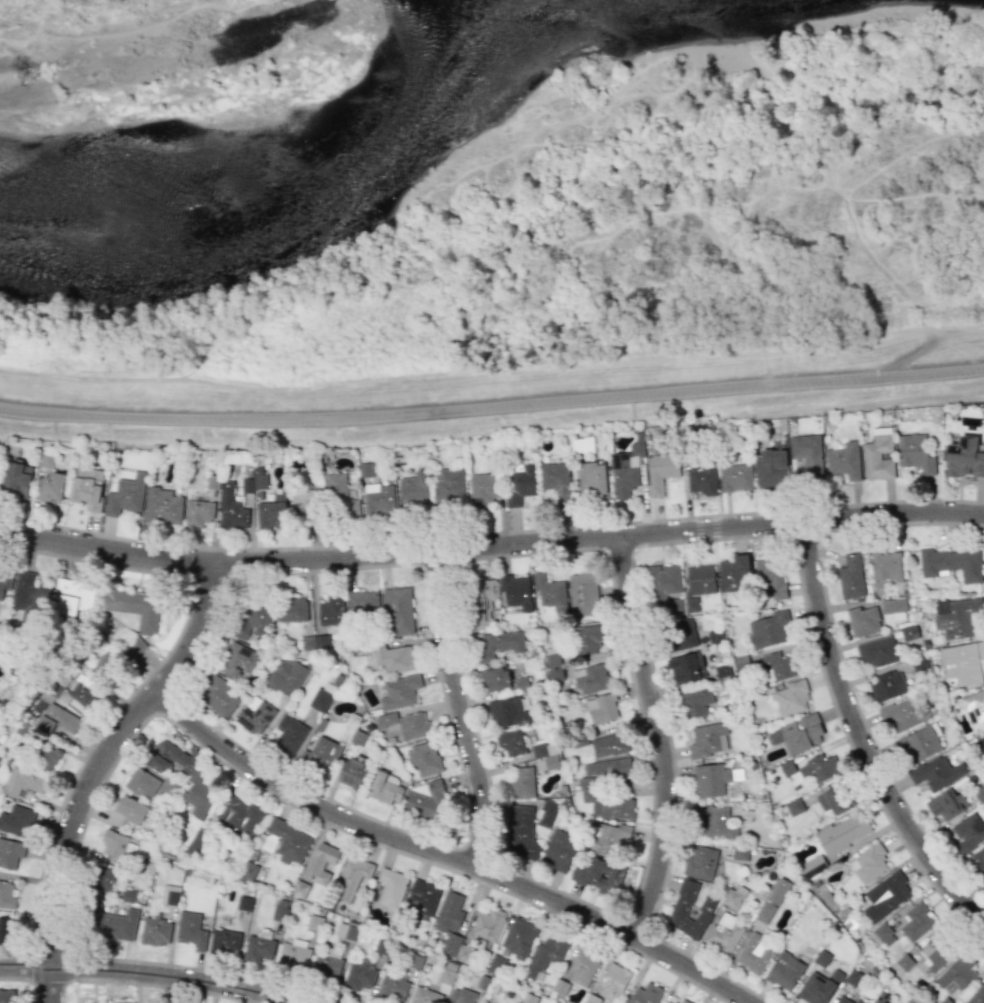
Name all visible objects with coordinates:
river: (295, 166)
road: (912, 356)
road: (492, 374)
road: (492, 407)
building: (582, 445)
building: (807, 453)
building: (915, 453)
building: (878, 454)
building: (964, 457)
building: (843, 460)
building: (770, 468)
building: (660, 471)
building: (17, 476)
building: (735, 477)
building: (259, 478)
building: (555, 478)
building: (702, 478)
building: (591, 479)
building: (520, 484)
building: (335, 485)
building: (449, 485)
building: (247, 486)
building: (87, 487)
building: (52, 488)
building: (484, 488)
building: (414, 489)
building: (125, 492)
building: (379, 500)
building: (307, 503)
building: (162, 506)
building: (231, 508)
building: (198, 512)
building: (272, 512)
road: (601, 534)
road: (108, 548)
building: (952, 563)
building: (886, 566)
building: (733, 573)
building: (850, 576)
building: (701, 579)
building: (770, 580)
building: (663, 582)
building: (4, 584)
building: (516, 591)
building: (551, 593)
building: (582, 594)
building: (73, 595)
building: (29, 599)
building: (364, 600)
building: (484, 602)
road: (848, 605)
building: (894, 605)
building: (133, 606)
building: (293, 610)
building: (331, 610)
building: (398, 611)
building: (957, 616)
building: (252, 619)
building: (864, 620)
building: (767, 629)
road: (198, 630)
building: (683, 634)
building: (586, 639)
building: (498, 644)
building: (130, 647)
building: (877, 652)
road: (839, 657)
building: (394, 658)
building: (238, 662)
building: (962, 662)
building: (104, 664)
building: (778, 665)
building: (553, 666)
building: (686, 667)
building: (722, 671)
road: (874, 673)
building: (286, 677)
building: (591, 678)
building: (495, 679)
building: (887, 686)
building: (400, 691)
building: (79, 694)
building: (217, 695)
building: (789, 698)
building: (320, 700)
building: (695, 702)
building: (974, 706)
road: (459, 708)
building: (602, 708)
building: (508, 712)
building: (902, 714)
building: (255, 716)
building: (57, 720)
building: (406, 724)
building: (289, 734)
building: (797, 734)
road: (656, 737)
road: (859, 738)
building: (708, 739)
building: (982, 741)
building: (511, 742)
building: (919, 744)
building: (609, 745)
building: (319, 754)
building: (546, 754)
building: (172, 756)
building: (48, 758)
building: (425, 759)
building: (609, 768)
building: (818, 769)
building: (353, 772)
building: (937, 772)
building: (710, 779)
building: (23, 780)
building: (521, 782)
building: (141, 783)
building: (384, 788)
building: (201, 792)
building: (980, 793)
building: (424, 799)
building: (834, 800)
building: (946, 804)
building: (609, 805)
building: (794, 807)
building: (126, 811)
building: (548, 813)
building: (240, 816)
building: (16, 820)
road: (947, 821)
building: (715, 822)
building: (520, 831)
building: (843, 832)
building: (968, 832)
road: (67, 834)
building: (609, 838)
building: (287, 841)
building: (197, 843)
building: (118, 845)
building: (557, 851)
building: (10, 852)
building: (740, 853)
road: (444, 858)
building: (977, 860)
building: (700, 862)
building: (321, 863)
building: (868, 863)
building: (812, 867)
building: (247, 871)
building: (599, 875)
building: (351, 878)
building: (107, 879)
building: (391, 888)
building: (300, 889)
road: (972, 892)
building: (7, 895)
building: (170, 895)
building: (886, 895)
building: (422, 897)
building: (732, 898)
building: (772, 900)
building: (245, 903)
building: (681, 907)
building: (279, 913)
building: (917, 921)
building: (489, 924)
building: (118, 925)
building: (451, 925)
building: (190, 930)
building: (6, 931)
building: (156, 931)
building: (346, 931)
building: (725, 932)
building: (883, 935)
building: (519, 937)
building: (225, 942)
building: (258, 948)
building: (935, 952)
building: (755, 953)
building: (294, 954)
building: (545, 954)
building: (328, 963)
building: (902, 964)
building: (583, 966)
building: (784, 970)
building: (957, 973)
road: (148, 975)
building: (359, 976)
building: (613, 981)
building: (392, 987)
building: (818, 987)
building: (647, 993)
building: (976, 995)
building: (7, 996)
building: (425, 996)
building: (463, 996)
building: (842, 1000)
building: (684, 1001)
building: (858, 1001)
building: (122, 1002)
building: (485, 1002)
building: (667, 1002)

